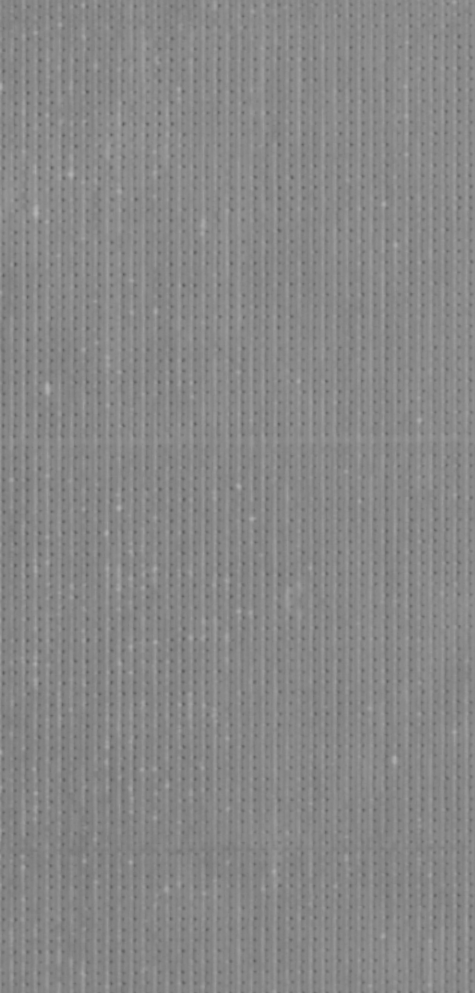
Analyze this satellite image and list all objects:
road: (237, 445)
crop: (237, 496)

